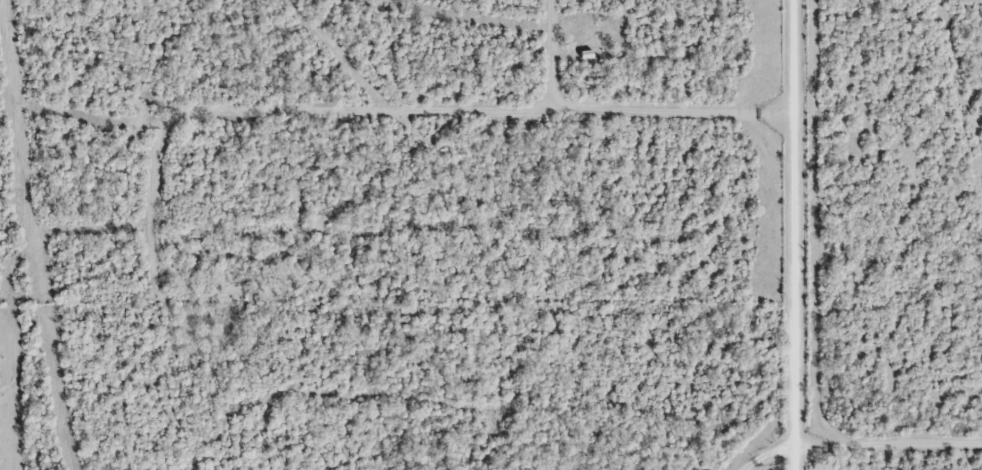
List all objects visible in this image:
road: (791, 235)

